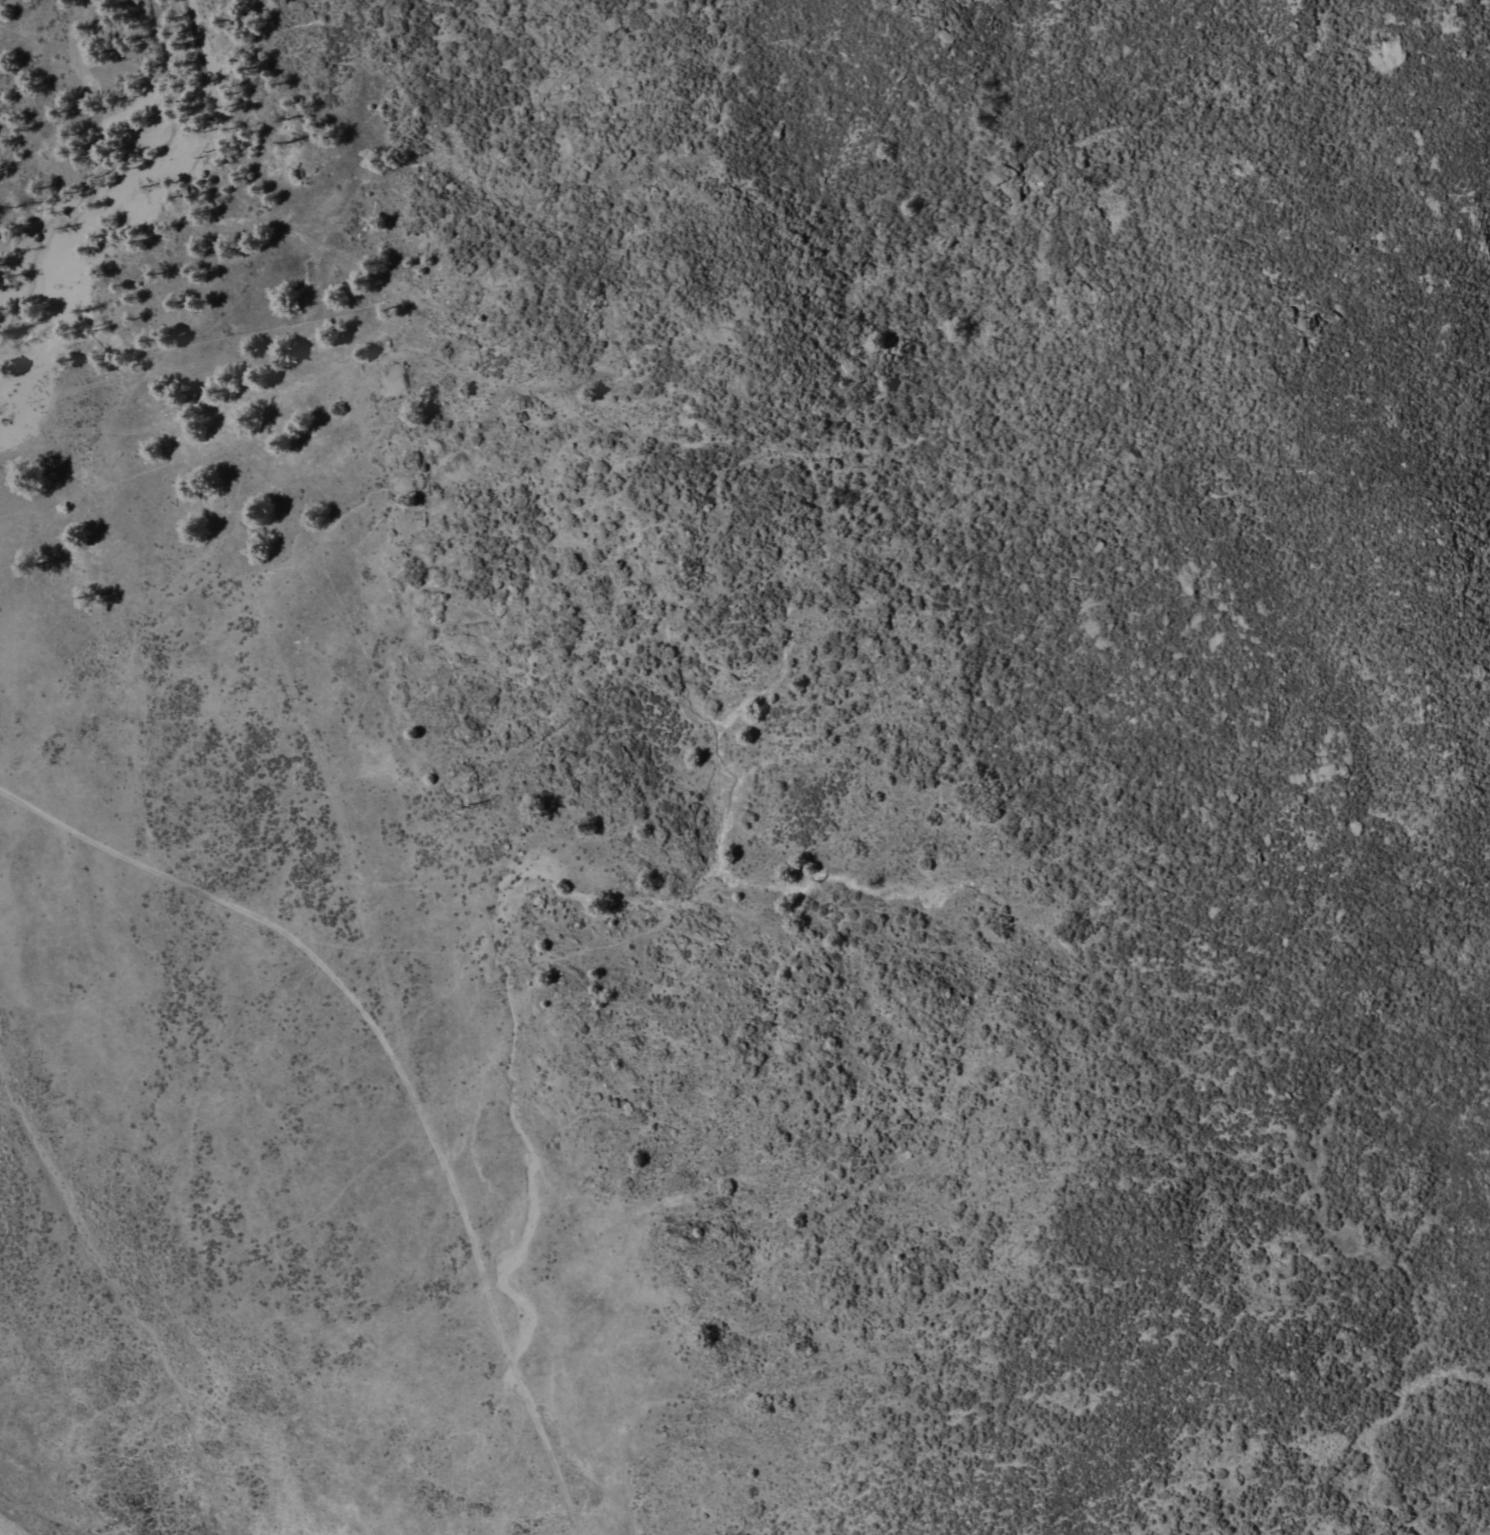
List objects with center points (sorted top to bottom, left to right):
airport runway: (28, 1514)

